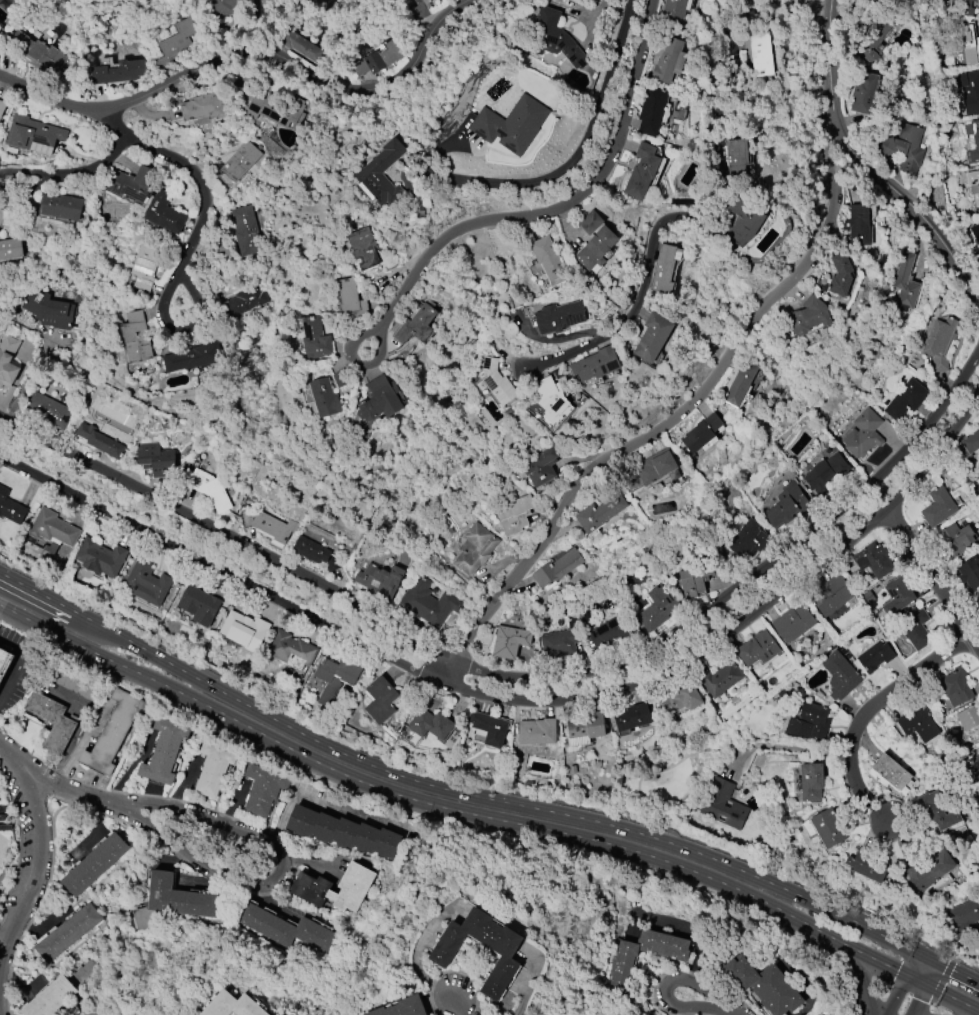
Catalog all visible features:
building: (873, 0)
building: (875, 0)
building: (230, 6)
building: (963, 7)
building: (419, 9)
building: (673, 13)
building: (869, 36)
building: (551, 39)
building: (970, 42)
building: (176, 44)
building: (300, 45)
road: (248, 51)
building: (38, 54)
building: (760, 54)
building: (378, 59)
building: (669, 61)
building: (119, 72)
building: (968, 90)
building: (863, 93)
building: (270, 106)
building: (204, 107)
building: (2, 108)
building: (652, 110)
building: (511, 125)
building: (33, 133)
building: (973, 142)
building: (903, 149)
building: (737, 159)
building: (241, 161)
road: (568, 166)
road: (93, 167)
road: (866, 167)
building: (640, 171)
building: (382, 176)
road: (43, 177)
building: (131, 183)
building: (973, 190)
road: (564, 203)
building: (61, 207)
building: (164, 215)
road: (678, 215)
building: (742, 223)
building: (593, 225)
building: (858, 227)
building: (247, 231)
building: (975, 232)
road: (193, 236)
road: (736, 237)
building: (596, 248)
building: (10, 249)
building: (363, 249)
building: (548, 258)
building: (977, 262)
building: (145, 268)
building: (664, 268)
building: (841, 274)
building: (906, 282)
building: (350, 300)
building: (244, 302)
building: (46, 310)
building: (810, 316)
building: (559, 317)
building: (415, 325)
building: (653, 337)
building: (136, 338)
building: (316, 338)
building: (939, 343)
building: (192, 358)
building: (7, 361)
road: (356, 362)
building: (596, 364)
building: (339, 379)
building: (497, 382)
building: (741, 384)
road: (21, 389)
building: (550, 396)
building: (324, 398)
building: (380, 400)
building: (905, 400)
building: (49, 410)
road: (675, 417)
building: (702, 433)
building: (863, 434)
building: (99, 441)
building: (966, 447)
building: (157, 460)
building: (540, 467)
building: (658, 468)
building: (826, 473)
building: (209, 489)
building: (787, 505)
building: (10, 507)
building: (938, 507)
building: (600, 512)
building: (514, 515)
building: (271, 526)
building: (52, 528)
road: (226, 535)
building: (748, 539)
building: (954, 539)
building: (475, 549)
building: (315, 553)
building: (100, 558)
building: (873, 560)
building: (557, 568)
road: (218, 569)
building: (970, 573)
road: (932, 577)
road: (746, 578)
building: (380, 580)
building: (694, 580)
building: (148, 583)
building: (832, 596)
building: (896, 596)
building: (978, 599)
building: (429, 603)
building: (199, 605)
building: (657, 609)
road: (743, 618)
building: (793, 623)
building: (917, 630)
building: (244, 631)
building: (610, 633)
building: (561, 640)
building: (510, 641)
building: (757, 649)
building: (290, 651)
building: (875, 657)
building: (5, 663)
road: (17, 663)
building: (840, 675)
building: (334, 678)
building: (720, 679)
building: (75, 685)
building: (955, 686)
building: (680, 699)
building: (380, 700)
road: (866, 711)
road: (81, 717)
building: (631, 719)
building: (52, 721)
building: (809, 721)
building: (970, 722)
building: (431, 724)
building: (918, 725)
building: (488, 728)
building: (584, 729)
building: (113, 732)
building: (536, 732)
road: (786, 745)
road: (719, 749)
building: (978, 749)
building: (164, 751)
building: (975, 766)
building: (213, 768)
building: (889, 773)
road: (39, 774)
road: (355, 780)
building: (811, 782)
road: (483, 783)
building: (264, 789)
road: (447, 790)
park: (659, 790)
road: (327, 804)
building: (722, 805)
building: (935, 810)
building: (828, 828)
building: (344, 833)
road: (38, 853)
building: (95, 865)
building: (868, 866)
building: (930, 871)
road: (280, 873)
building: (310, 888)
building: (172, 901)
building: (963, 913)
building: (286, 929)
road: (820, 932)
building: (68, 933)
building: (503, 947)
road: (1, 953)
road: (927, 958)
building: (621, 964)
road: (911, 964)
traffic signals: (951, 970)
traffic signals: (897, 971)
road: (958, 973)
road: (932, 975)
road: (916, 981)
road: (941, 981)
building: (764, 985)
road: (667, 987)
road: (866, 987)
road: (895, 995)
building: (49, 998)
road: (952, 998)
road: (920, 1000)
traffic signals: (920, 1001)
road: (460, 1004)
building: (233, 1005)
building: (403, 1008)

